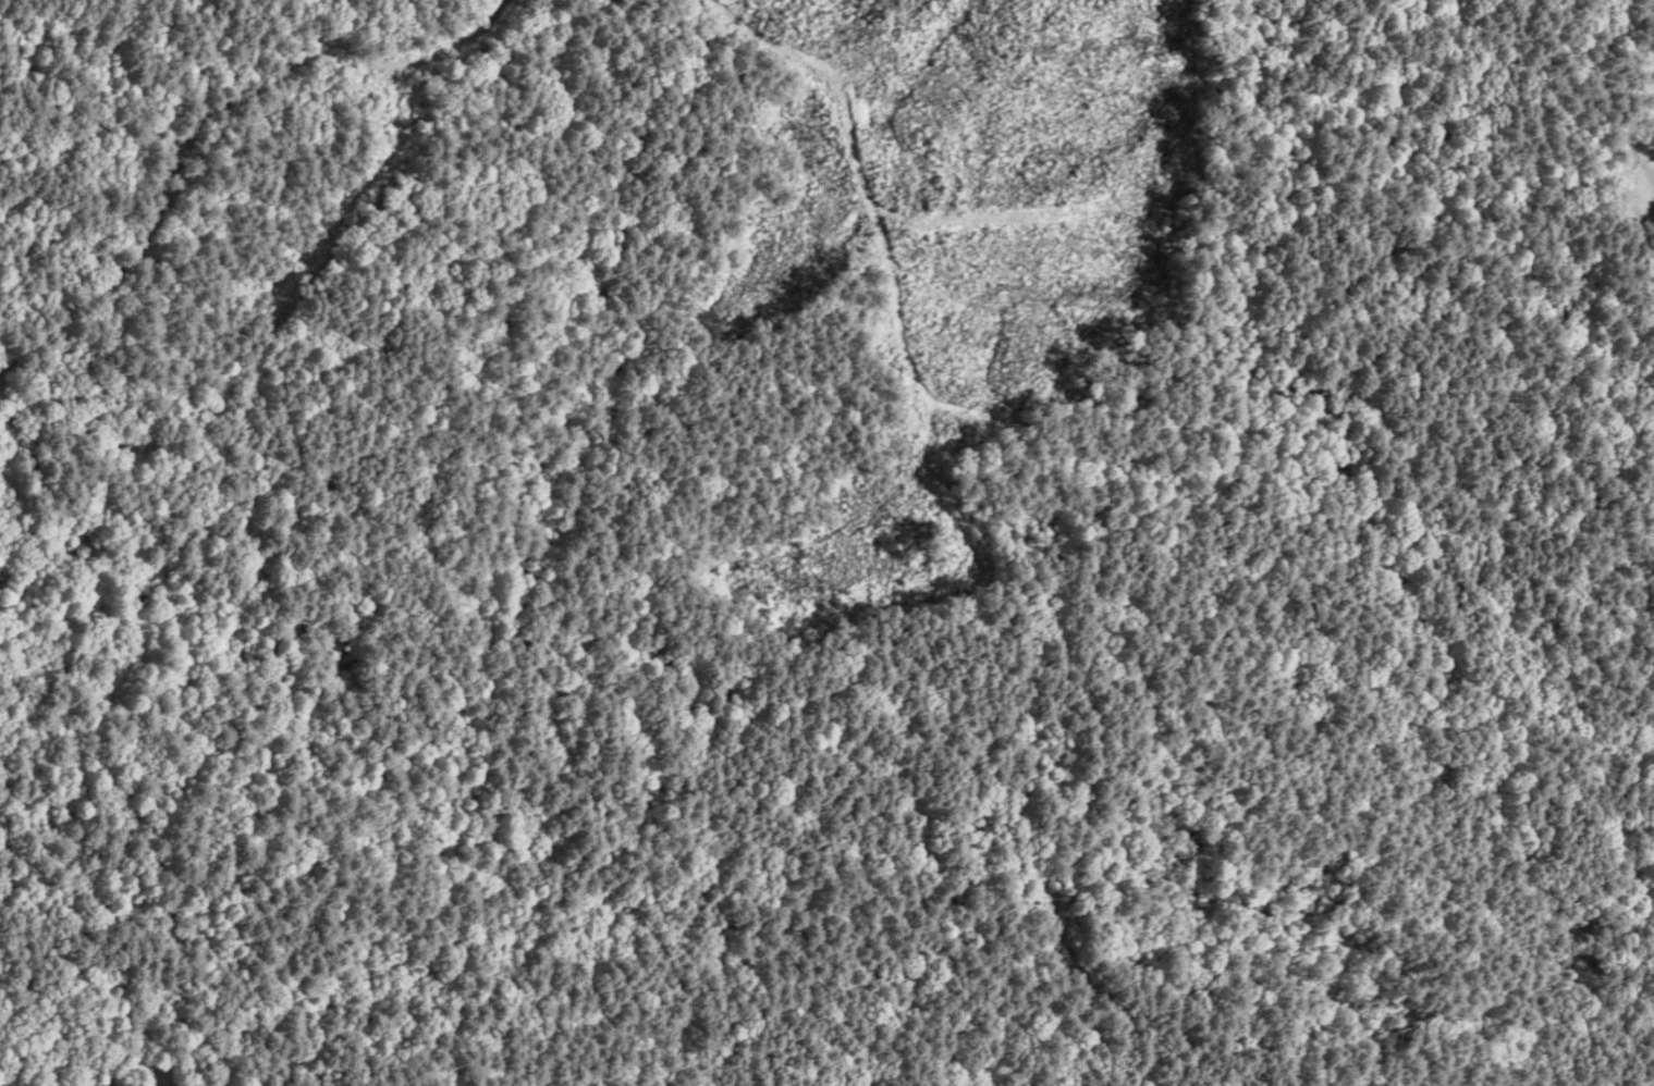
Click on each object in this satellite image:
road: (1443, 1041)

